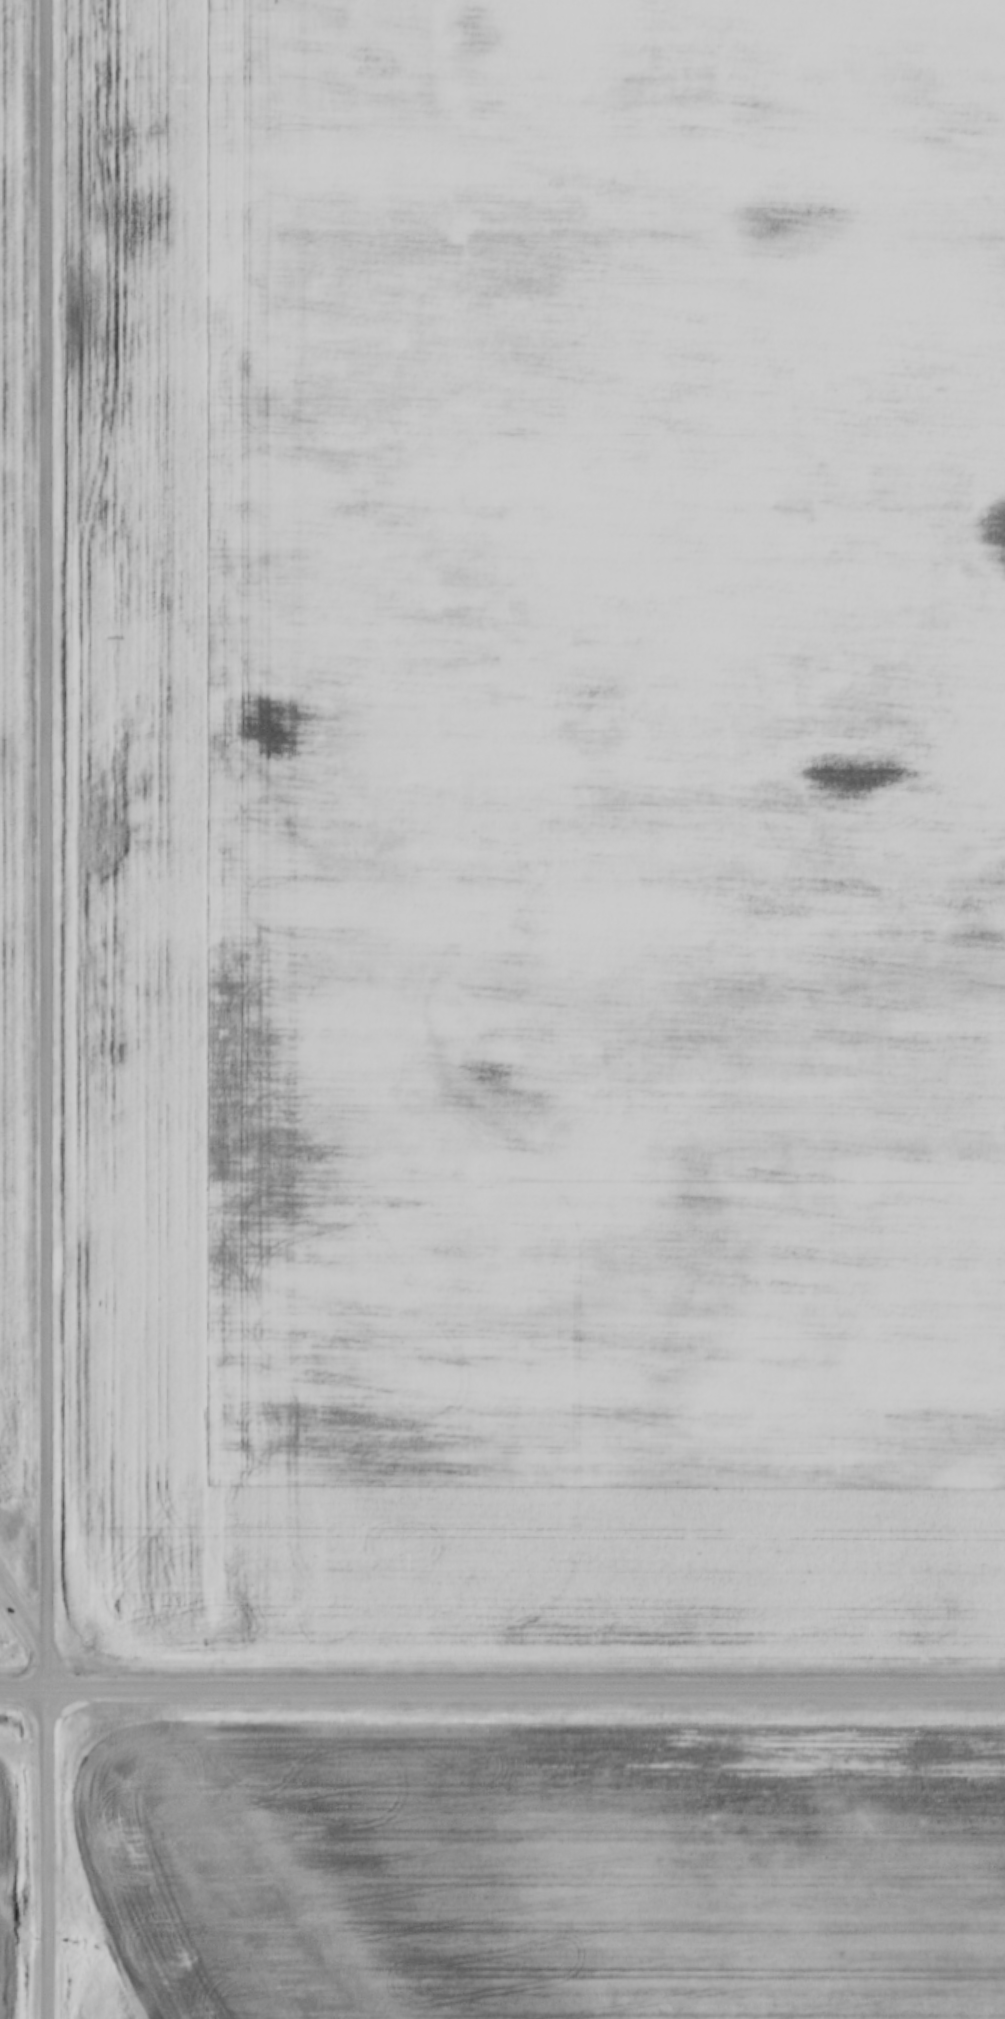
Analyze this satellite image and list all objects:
road: (49, 1009)
road: (25, 1604)
road: (502, 1686)

